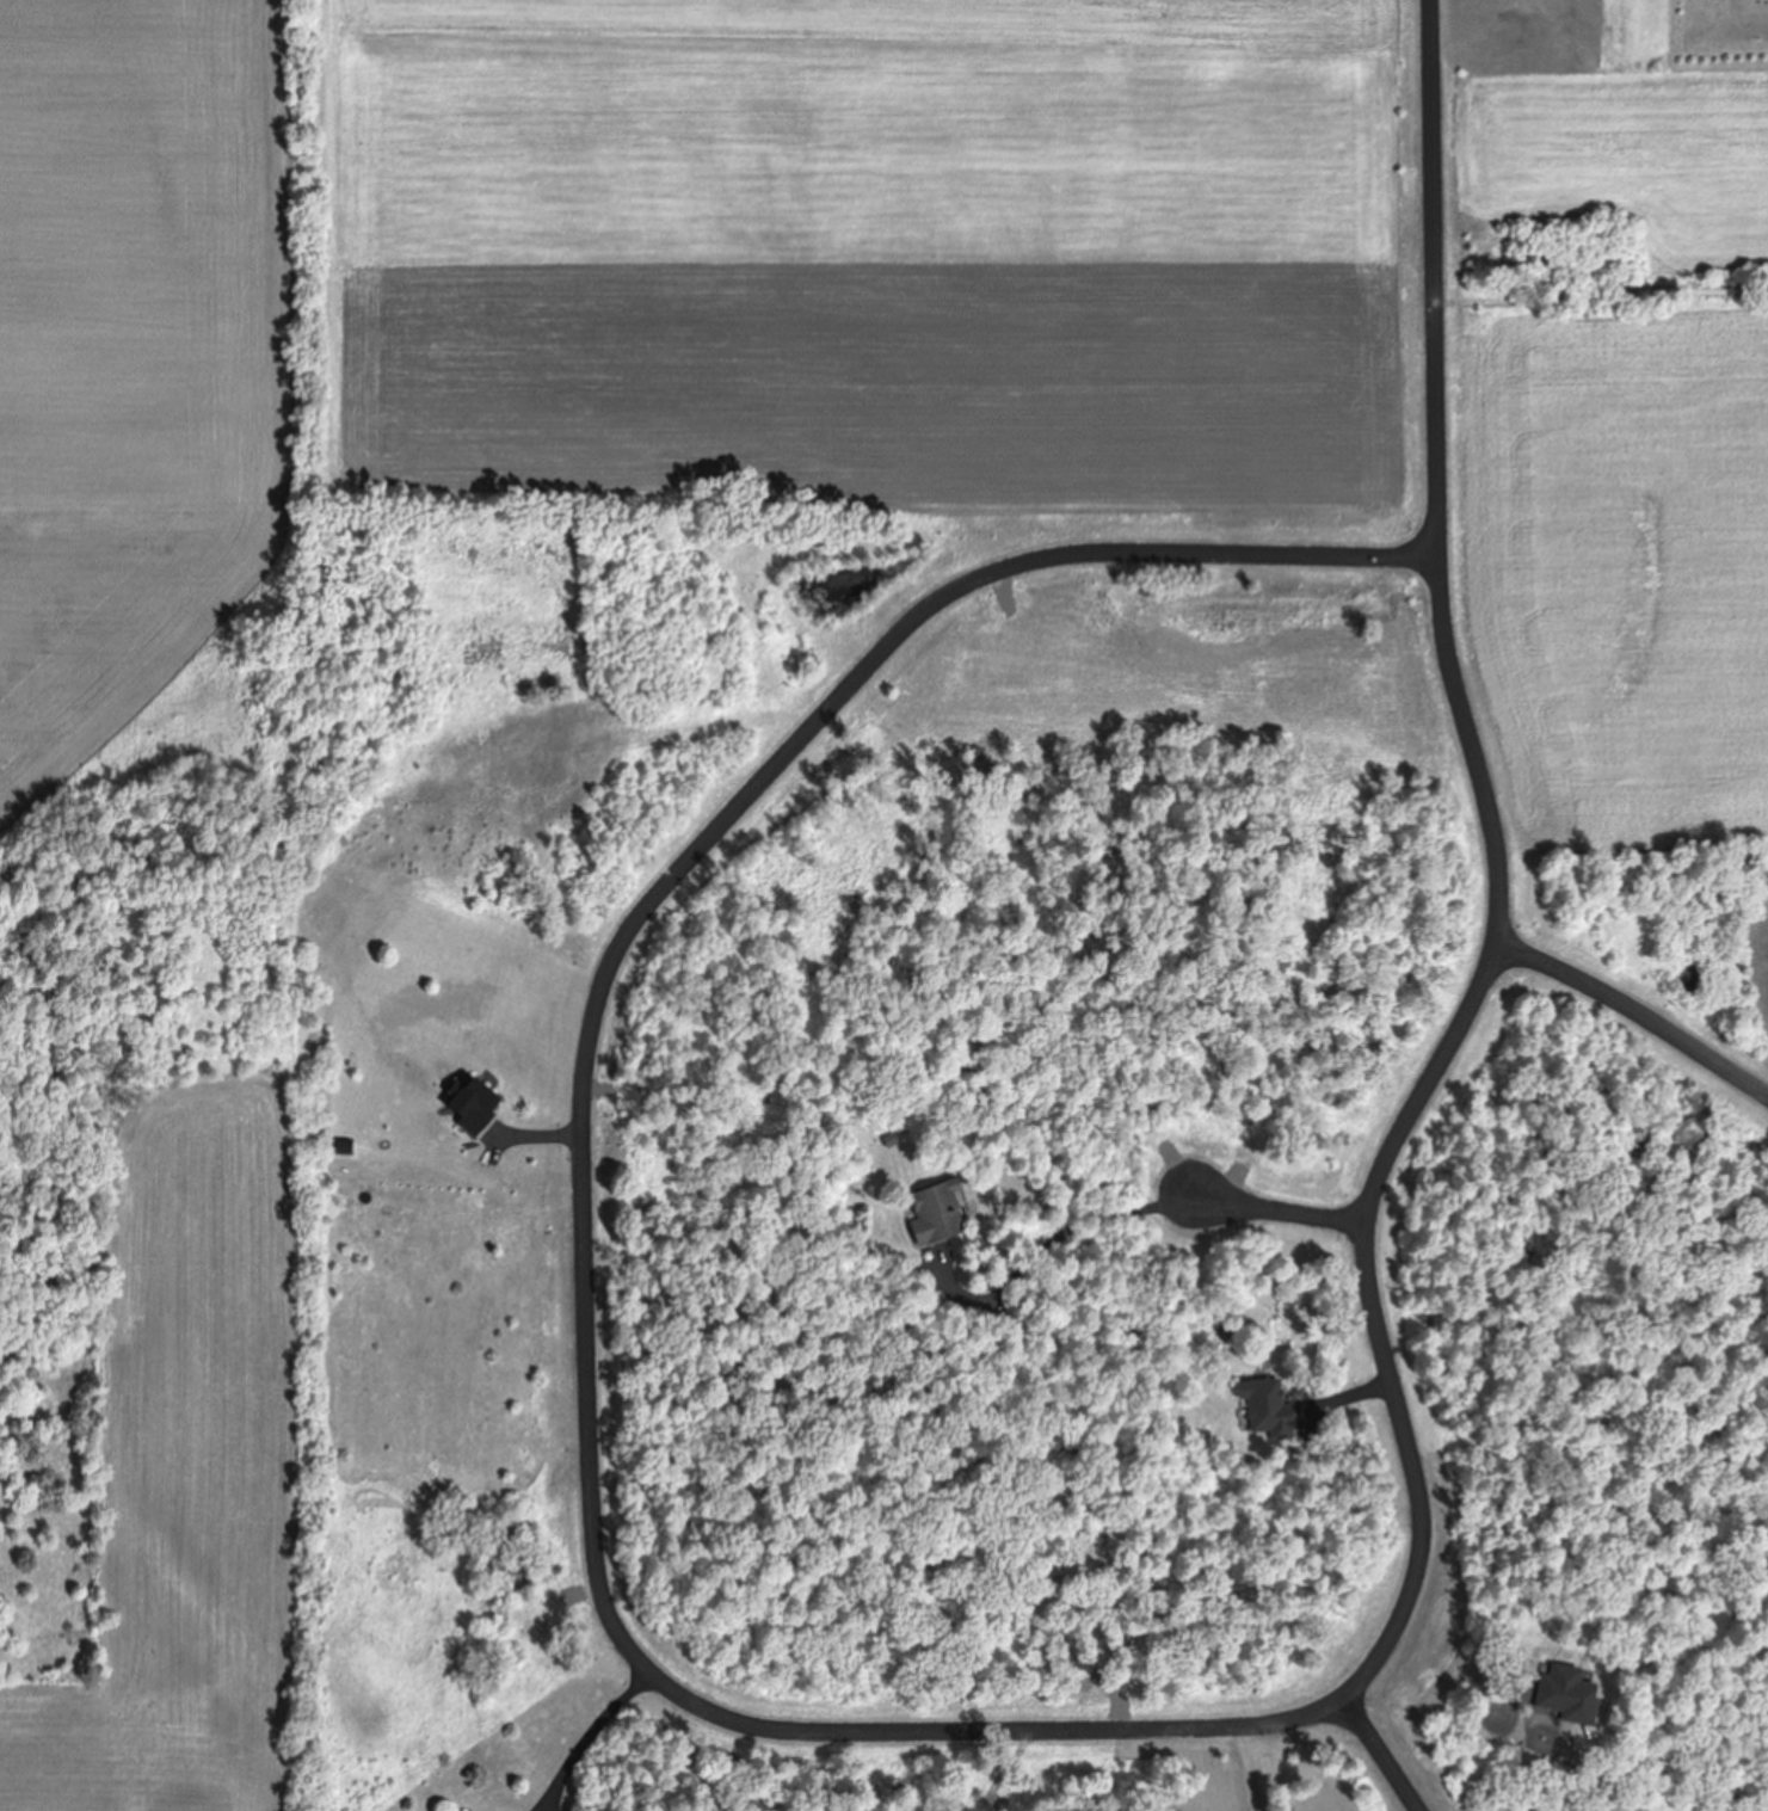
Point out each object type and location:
road: (1499, 913)
road: (1638, 1015)
building: (479, 1103)
road: (584, 1137)
crop: (152, 1188)
road: (1279, 1207)
building: (932, 1209)
building: (1264, 1406)
road: (1388, 1754)

